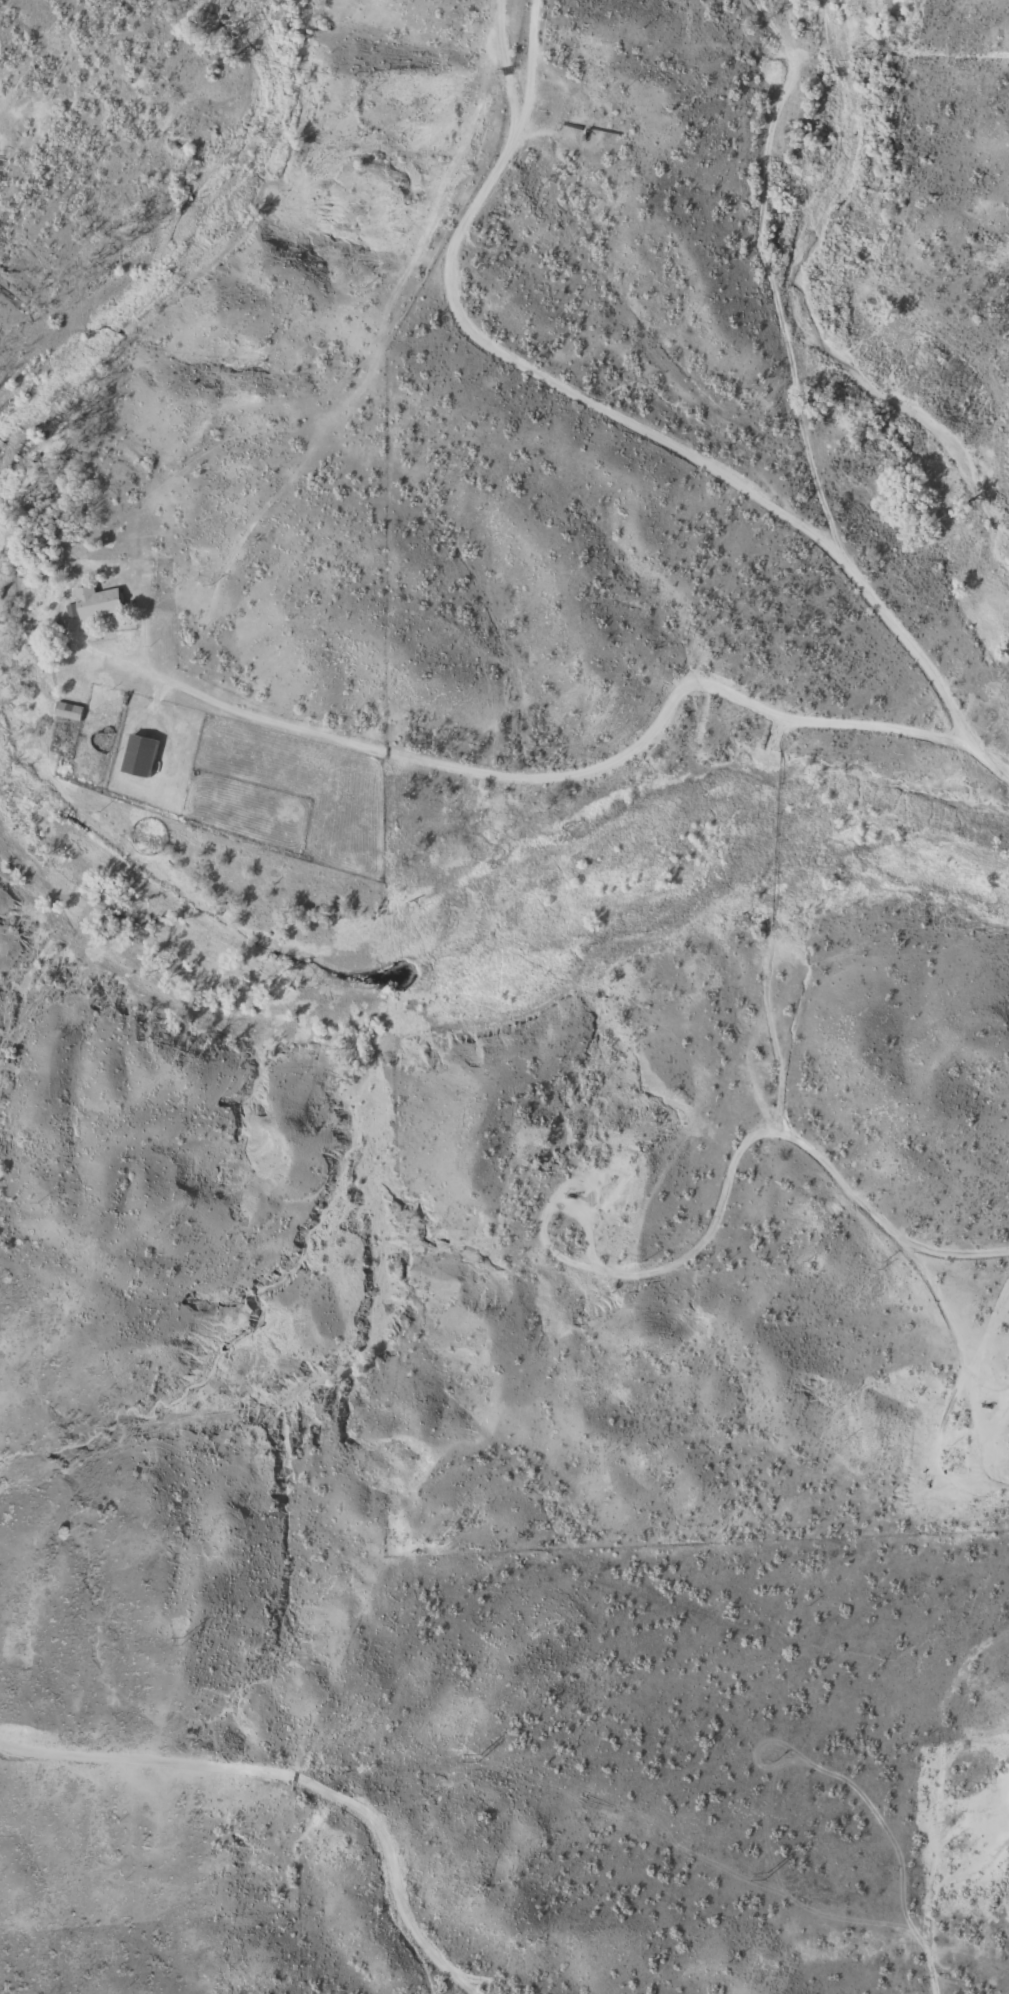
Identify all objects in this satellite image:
building: (98, 601)
power tower: (190, 1639)
power tower: (477, 1756)
power tower: (764, 1876)

